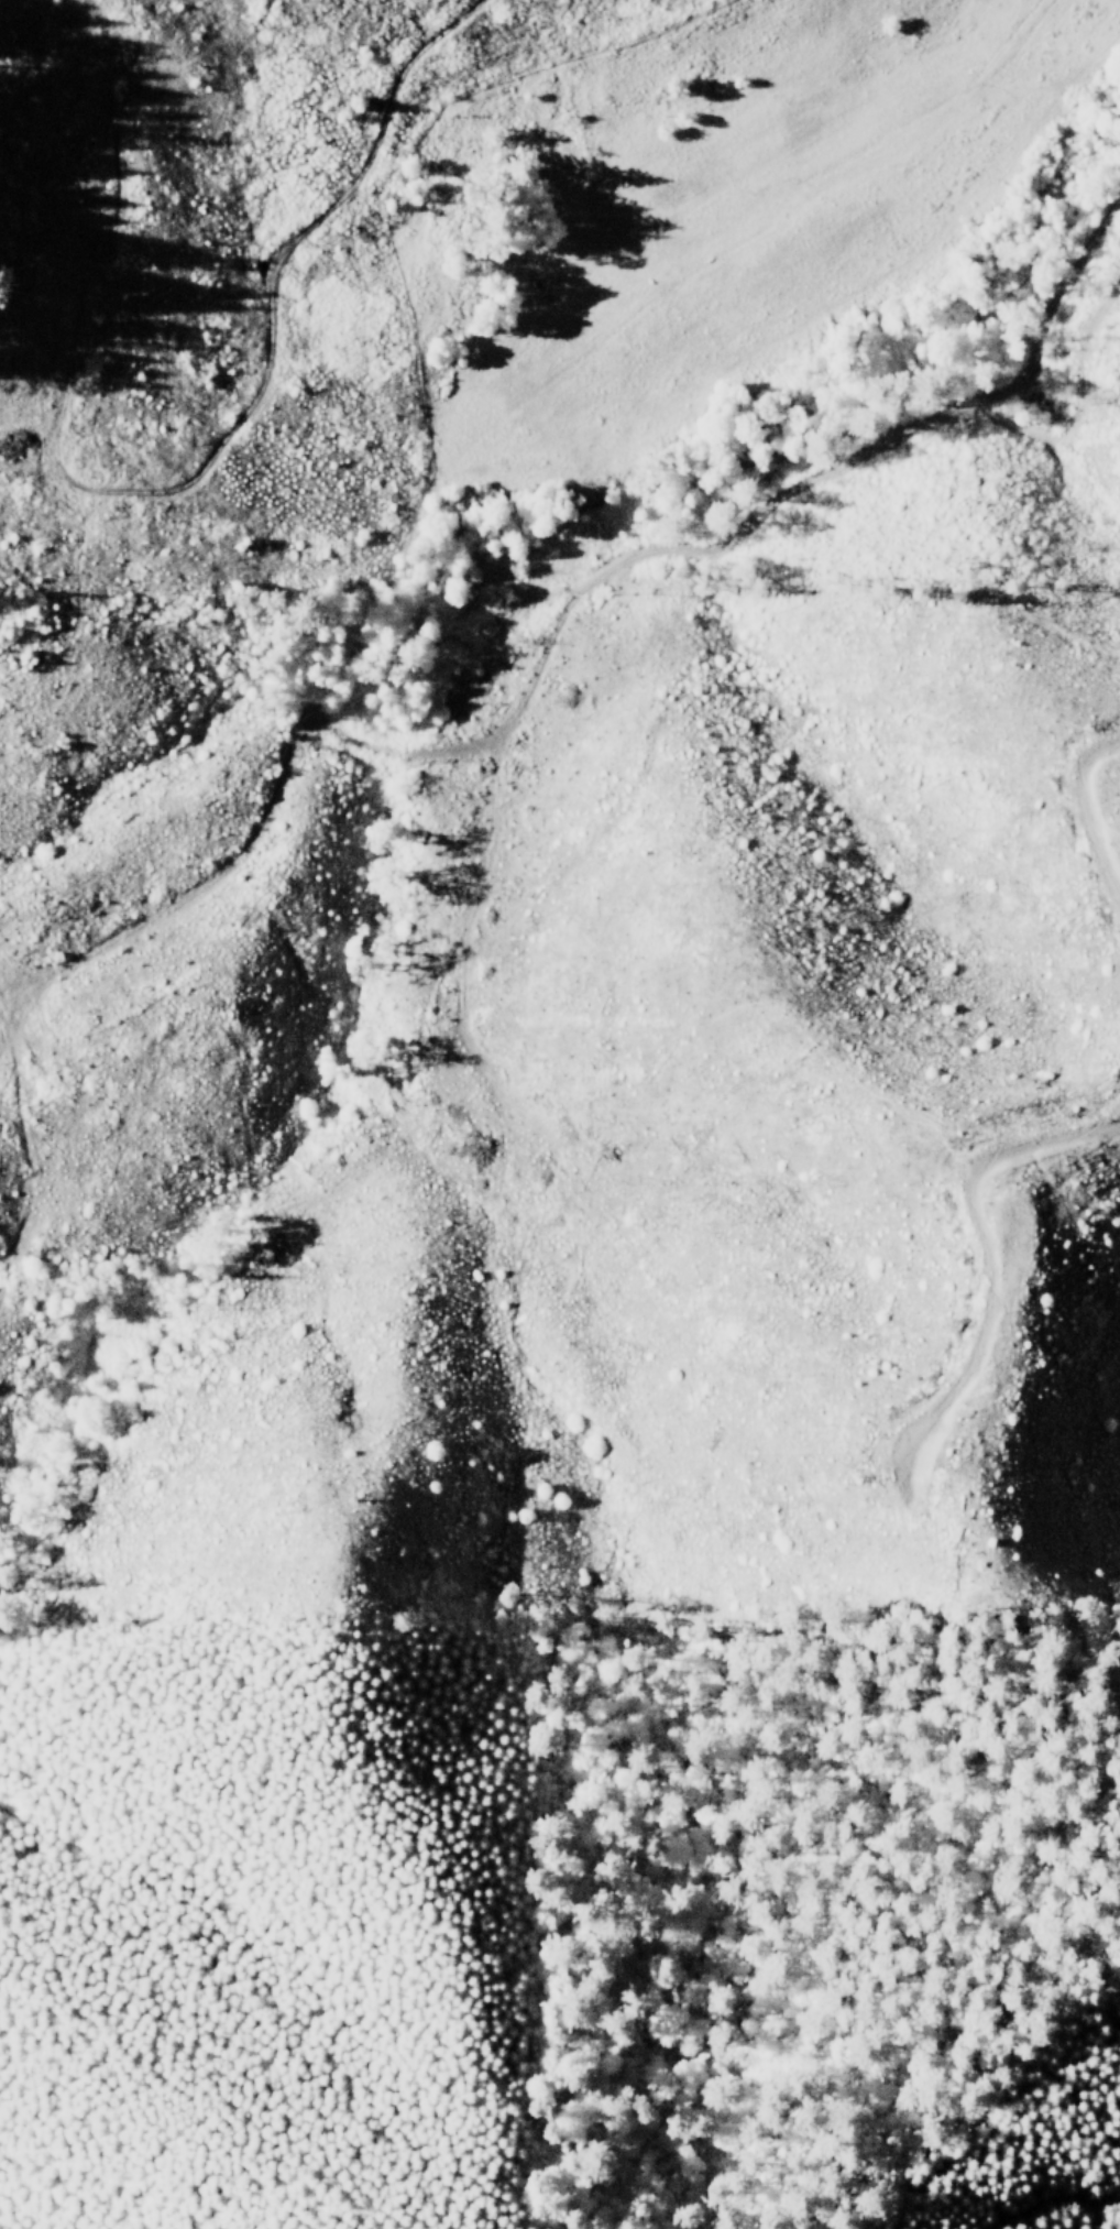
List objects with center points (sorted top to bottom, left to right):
road: (1051, 2204)

